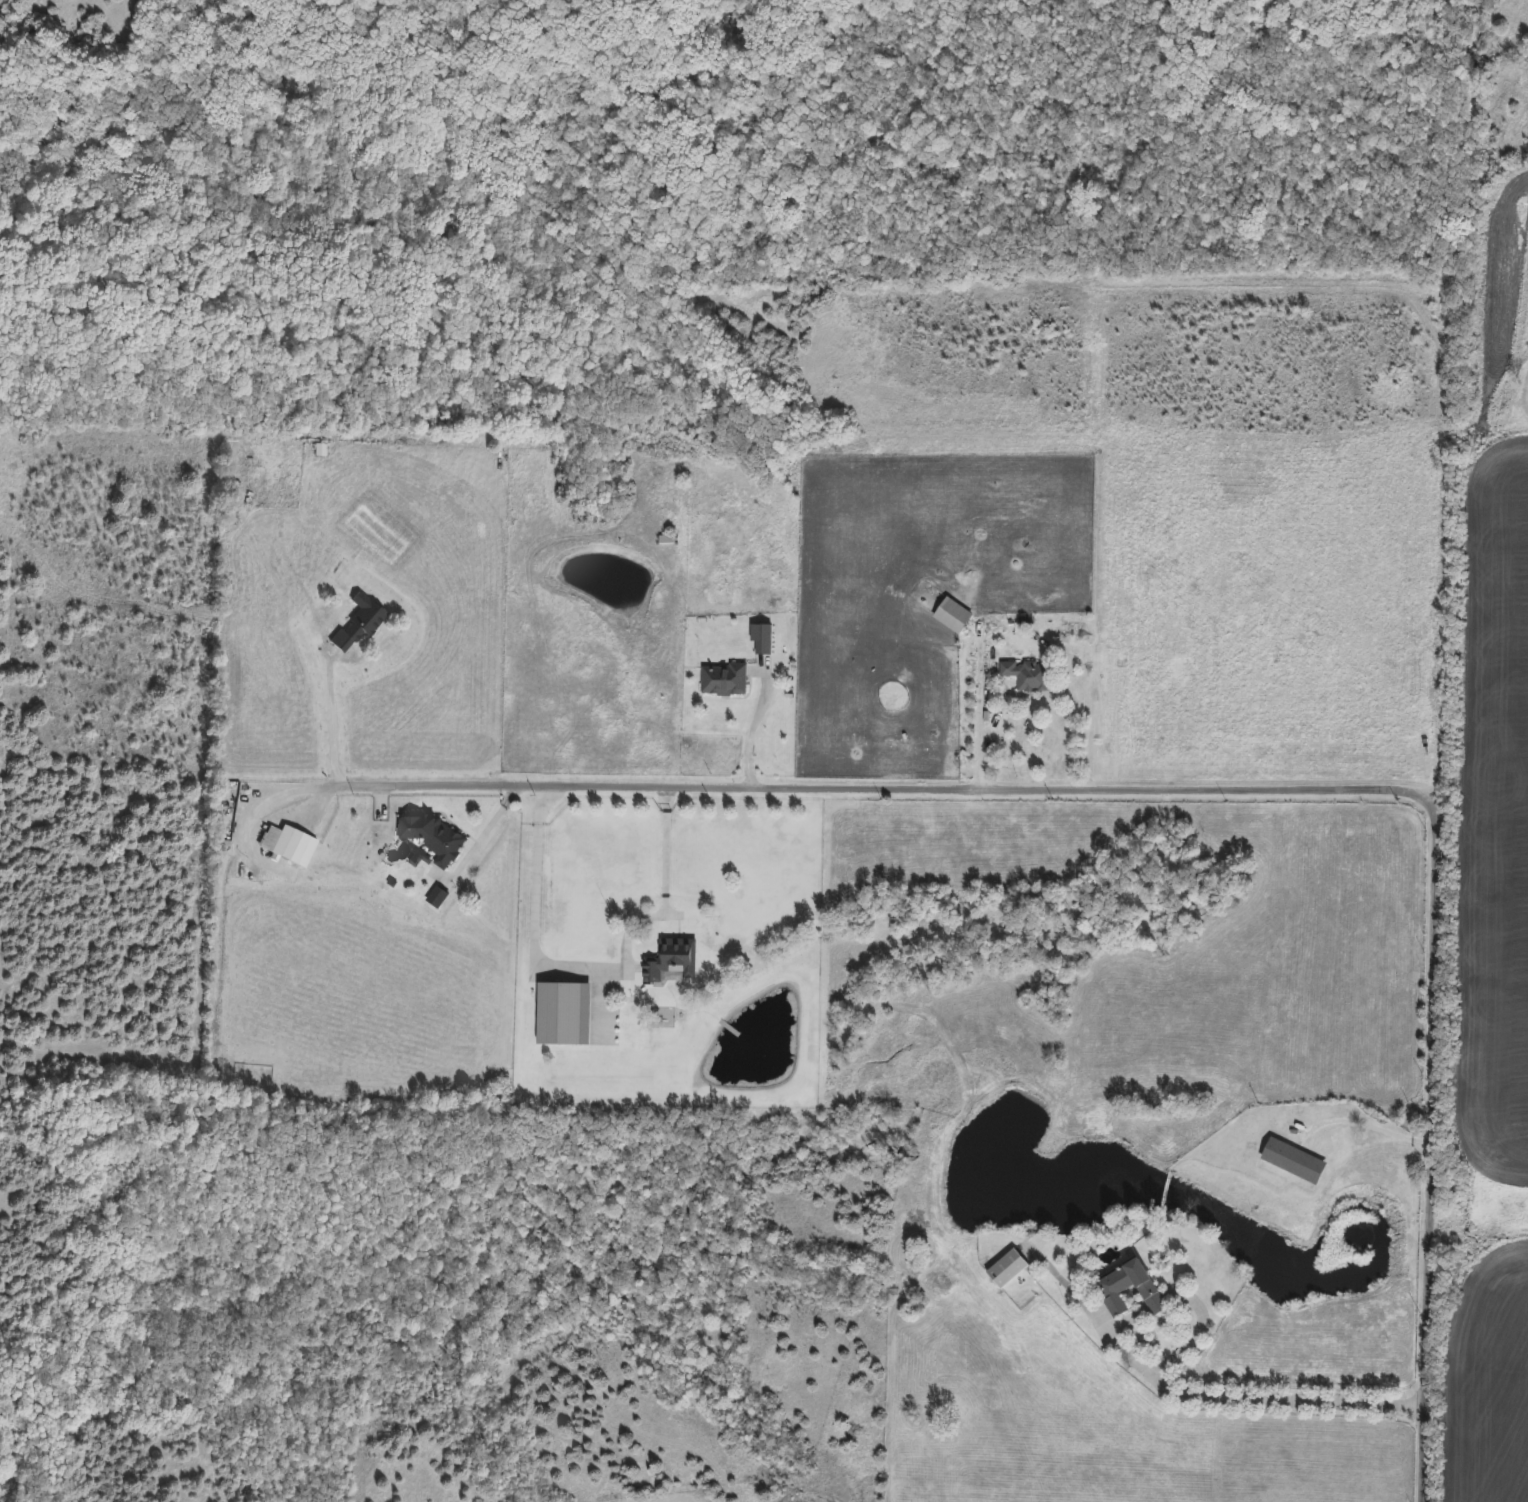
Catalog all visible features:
park: (60, 58)
building: (665, 542)
building: (951, 616)
building: (357, 622)
building: (760, 638)
building: (1026, 675)
building: (722, 681)
road: (979, 719)
road: (333, 723)
road: (752, 725)
road: (1225, 788)
road: (280, 794)
road: (482, 835)
building: (433, 840)
building: (286, 845)
building: (670, 963)
road: (592, 966)
building: (562, 1015)
road: (1366, 1126)
building: (1291, 1163)
building: (1006, 1269)
building: (1126, 1288)
road: (1271, 1398)

